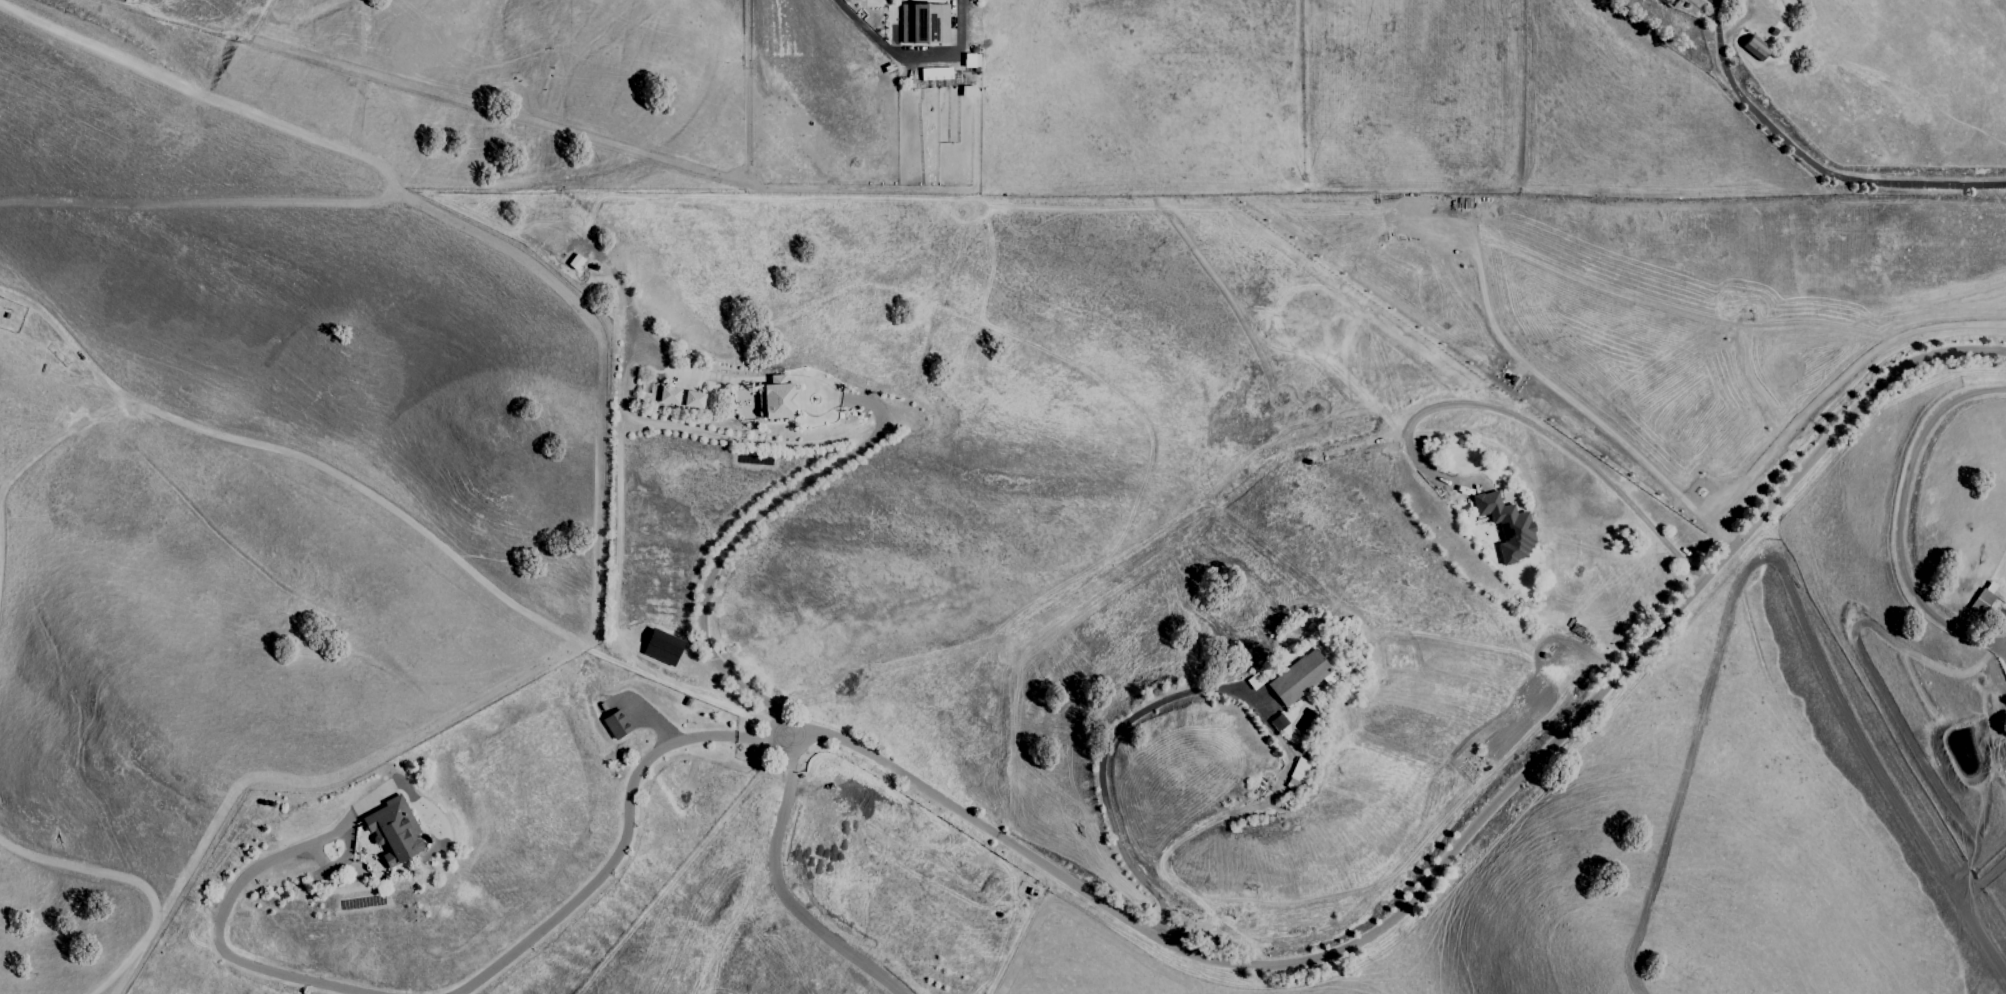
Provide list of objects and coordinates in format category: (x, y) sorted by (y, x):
building: (925, 25)
building: (1753, 48)
road: (912, 60)
building: (934, 74)
road: (1826, 174)
building: (574, 262)
building: (668, 396)
building: (777, 399)
building: (691, 400)
road: (1535, 431)
road: (1897, 517)
building: (1520, 533)
road: (722, 551)
building: (1979, 602)
building: (661, 648)
building: (1277, 722)
building: (615, 724)
road: (708, 738)
road: (1099, 761)
building: (1295, 774)
building: (386, 837)
road: (1458, 852)
road: (590, 885)
road: (777, 889)
road: (217, 928)

